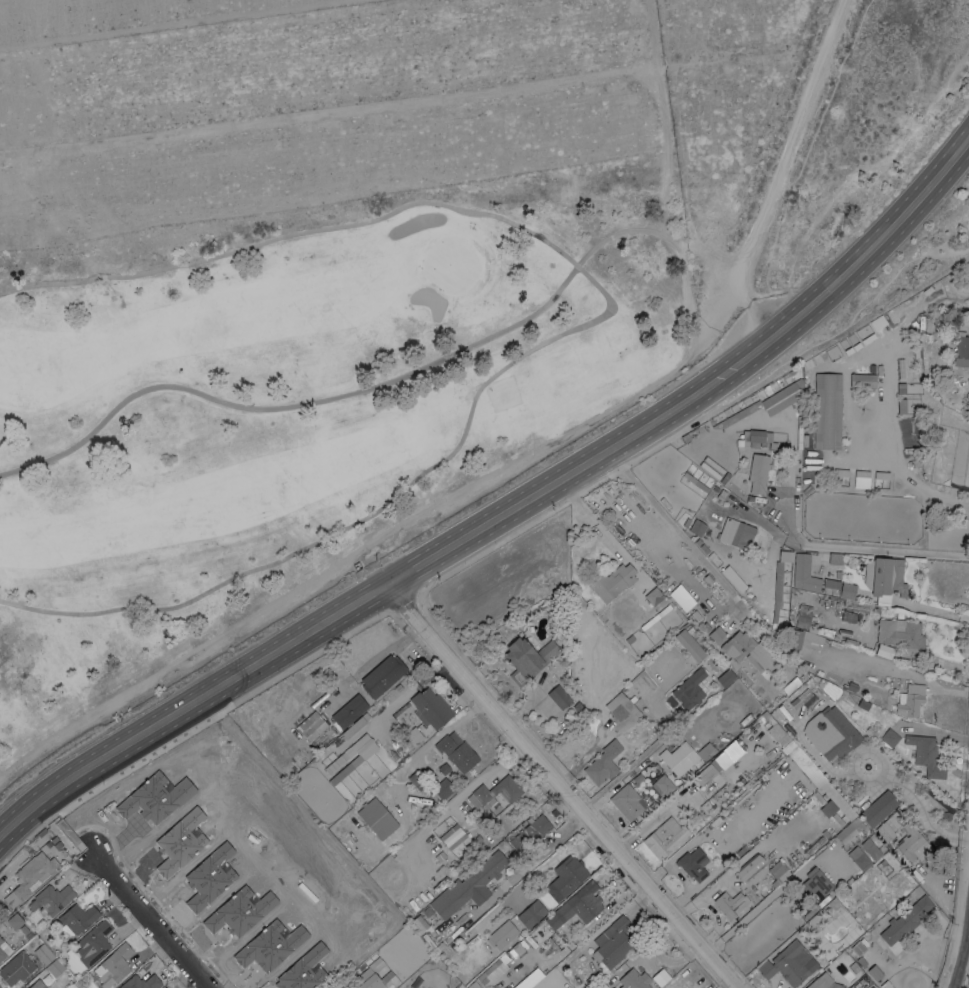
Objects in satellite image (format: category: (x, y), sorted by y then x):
dam: (545, 86)
road: (662, 117)
park: (158, 164)
dam: (206, 194)
park: (616, 202)
park: (450, 265)
road: (682, 285)
road: (583, 324)
building: (870, 331)
park: (614, 344)
building: (960, 351)
park: (655, 355)
park: (566, 358)
park: (262, 371)
building: (862, 379)
road: (340, 394)
road: (958, 394)
park: (503, 395)
building: (766, 403)
building: (827, 411)
building: (705, 426)
building: (692, 434)
building: (756, 439)
road: (510, 467)
building: (841, 472)
road: (902, 472)
building: (758, 473)
building: (862, 474)
building: (881, 475)
building: (695, 481)
building: (721, 494)
road: (505, 514)
building: (686, 522)
building: (697, 527)
road: (677, 532)
building: (736, 532)
building: (697, 542)
road: (857, 547)
building: (703, 548)
building: (759, 550)
building: (711, 555)
building: (785, 556)
building: (835, 559)
building: (804, 573)
building: (670, 575)
building: (733, 578)
building: (884, 578)
building: (613, 581)
building: (831, 583)
building: (719, 590)
building: (777, 590)
building: (847, 591)
building: (652, 597)
building: (667, 607)
road: (931, 610)
building: (808, 631)
building: (716, 633)
building: (900, 633)
building: (629, 639)
building: (850, 641)
building: (690, 645)
building: (750, 650)
building: (884, 651)
building: (527, 658)
road: (890, 670)
building: (819, 672)
building: (382, 675)
building: (725, 677)
building: (755, 681)
building: (851, 686)
building: (689, 689)
building: (558, 696)
building: (808, 697)
building: (910, 700)
building: (863, 704)
building: (578, 707)
building: (622, 707)
building: (430, 708)
building: (348, 711)
building: (764, 714)
building: (311, 725)
building: (355, 725)
building: (830, 733)
building: (414, 736)
building: (888, 738)
building: (457, 751)
road: (869, 753)
building: (796, 754)
building: (684, 756)
building: (927, 756)
building: (329, 761)
road: (819, 761)
building: (603, 763)
building: (346, 765)
building: (444, 768)
building: (712, 768)
road: (622, 771)
building: (415, 780)
building: (664, 784)
road: (565, 785)
building: (443, 788)
building: (495, 792)
road: (874, 795)
building: (834, 800)
building: (628, 802)
building: (878, 807)
building: (828, 808)
road: (923, 811)
building: (377, 818)
building: (838, 819)
building: (889, 823)
building: (849, 830)
building: (448, 831)
building: (529, 833)
building: (665, 838)
building: (911, 842)
building: (871, 849)
building: (859, 858)
building: (693, 863)
road: (530, 865)
building: (750, 867)
building: (778, 872)
building: (568, 874)
building: (31, 876)
building: (815, 882)
building: (469, 886)
building: (52, 899)
building: (583, 901)
road: (939, 902)
building: (730, 903)
building: (427, 911)
building: (531, 913)
building: (76, 918)
building: (905, 920)
building: (14, 921)
road: (145, 923)
building: (24, 928)
building: (502, 934)
building: (613, 942)
building: (94, 943)
building: (433, 943)
building: (839, 948)
building: (2, 950)
building: (517, 950)
building: (43, 954)
road: (963, 959)
building: (790, 963)
building: (115, 965)
building: (16, 968)
building: (55, 968)
building: (491, 972)
building: (875, 972)
building: (373, 976)
building: (659, 977)
building: (47, 978)
building: (634, 979)
building: (141, 982)
building: (823, 982)
building: (37, 984)
building: (474, 985)
building: (165, 987)

